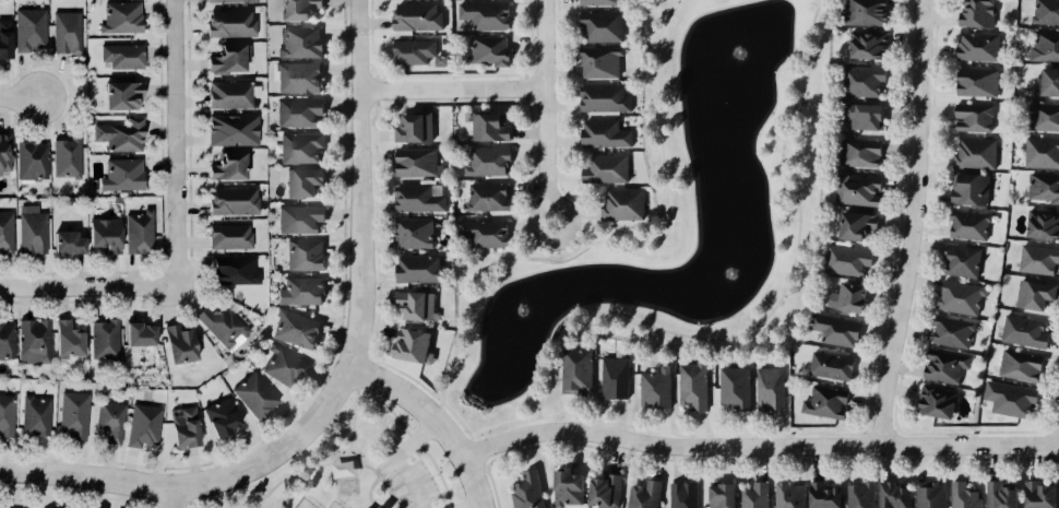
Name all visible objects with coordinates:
building: (233, 1)
building: (599, 2)
building: (299, 9)
building: (865, 12)
building: (1046, 12)
building: (977, 13)
building: (486, 15)
building: (417, 17)
building: (122, 19)
building: (231, 24)
building: (603, 26)
building: (31, 29)
building: (67, 33)
street lamp: (368, 34)
building: (5, 39)
building: (301, 43)
street lamp: (185, 45)
building: (868, 45)
building: (979, 47)
building: (1045, 47)
building: (490, 50)
building: (417, 52)
building: (123, 56)
building: (229, 59)
building: (600, 61)
road: (450, 74)
road: (524, 74)
road: (376, 75)
building: (299, 76)
street lamp: (555, 81)
fountain: (726, 81)
building: (861, 81)
building: (978, 82)
building: (1048, 83)
street lamp: (15, 84)
road: (525, 87)
road: (376, 88)
road: (452, 88)
building: (230, 95)
road: (70, 96)
building: (122, 96)
road: (19, 97)
street lamp: (390, 98)
building: (604, 98)
road: (524, 101)
road: (377, 103)
road: (545, 110)
building: (299, 113)
building: (865, 117)
building: (975, 117)
building: (1044, 117)
building: (490, 127)
building: (414, 128)
building: (233, 130)
street lamp: (929, 133)
building: (605, 134)
building: (121, 135)
road: (176, 143)
building: (300, 147)
building: (5, 152)
building: (1042, 152)
street lamp: (166, 153)
building: (859, 154)
building: (976, 154)
building: (67, 158)
road: (661, 160)
building: (32, 161)
building: (488, 161)
building: (418, 163)
street lamp: (348, 165)
building: (228, 167)
building: (606, 168)
building: (122, 175)
building: (304, 182)
road: (361, 182)
street lamp: (535, 182)
building: (1044, 187)
building: (857, 189)
building: (971, 189)
building: (488, 197)
building: (419, 199)
building: (234, 201)
building: (623, 204)
road: (163, 212)
park: (665, 216)
street lamp: (167, 220)
building: (300, 220)
road: (915, 224)
building: (1044, 224)
building: (857, 225)
building: (969, 225)
building: (33, 231)
building: (140, 233)
building: (415, 233)
building: (485, 233)
building: (7, 234)
building: (105, 235)
building: (230, 237)
building: (67, 244)
street lamp: (900, 249)
road: (190, 252)
building: (306, 256)
building: (1038, 259)
building: (847, 260)
building: (963, 261)
building: (420, 269)
building: (235, 271)
fountain: (723, 271)
street lamp: (376, 288)
road: (85, 291)
building: (304, 291)
building: (1036, 295)
building: (961, 297)
building: (852, 298)
road: (459, 304)
building: (417, 306)
road: (913, 306)
road: (770, 308)
fountain: (513, 322)
building: (223, 326)
building: (296, 330)
building: (836, 330)
building: (953, 332)
building: (1025, 332)
building: (140, 335)
building: (68, 340)
building: (7, 341)
building: (106, 341)
building: (34, 342)
building: (180, 344)
building: (413, 346)
road: (368, 356)
road: (326, 365)
building: (832, 366)
building: (945, 366)
building: (1021, 366)
building: (284, 367)
street lamp: (331, 367)
building: (578, 370)
road: (359, 373)
street lamp: (896, 376)
building: (615, 378)
road: (415, 381)
building: (694, 385)
building: (736, 388)
building: (656, 389)
building: (771, 389)
building: (255, 395)
building: (1010, 398)
building: (826, 402)
building: (938, 402)
road: (385, 407)
building: (74, 415)
building: (7, 416)
building: (36, 416)
road: (435, 416)
building: (222, 418)
street lamp: (558, 420)
building: (111, 421)
road: (352, 422)
building: (144, 426)
building: (186, 429)
road: (866, 429)
road: (895, 429)
road: (880, 430)
road: (471, 436)
road: (413, 440)
street lamp: (262, 444)
road: (759, 448)
street lamp: (633, 451)
road: (476, 452)
street lamp: (1018, 454)
road: (396, 458)
road: (749, 460)
park: (328, 462)
road: (486, 465)
building: (343, 469)
park: (436, 471)
street lamp: (163, 472)
road: (437, 474)
parking lot: (406, 479)
road: (279, 480)
road: (381, 481)
street lamp: (35, 485)
road: (201, 485)
street lamp: (381, 486)
street lamp: (462, 487)
building: (568, 487)
building: (528, 491)
building: (606, 491)
road: (366, 492)
road: (74, 494)
building: (645, 495)
building: (685, 495)
building: (723, 495)
building: (789, 495)
building: (861, 495)
building: (894, 495)
building: (931, 495)
building: (1002, 495)
building: (1040, 495)
building: (755, 496)
building: (823, 496)
building: (965, 496)
road: (171, 498)
road: (172, 500)
road: (152, 504)
road: (194, 504)
road: (451, 506)
road: (471, 506)
building: (368, 507)

